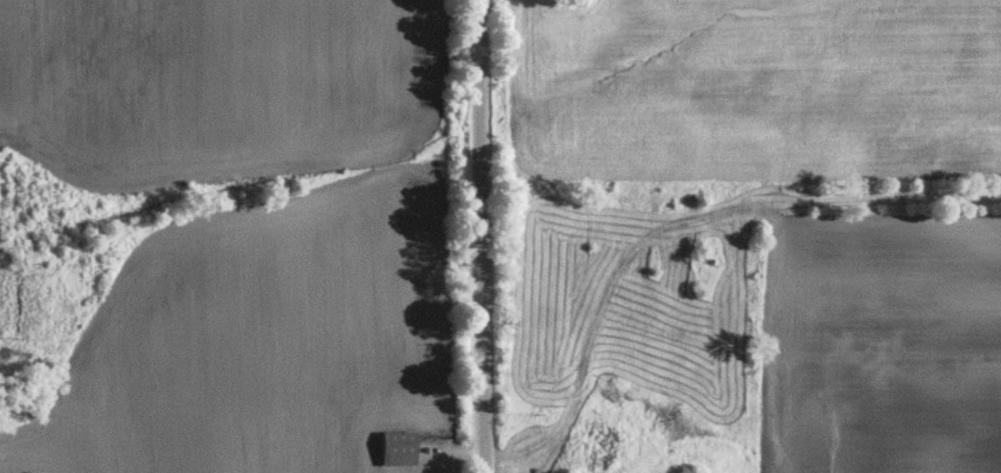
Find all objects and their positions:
road: (483, 236)
road: (535, 444)
building: (397, 448)
road: (467, 451)

